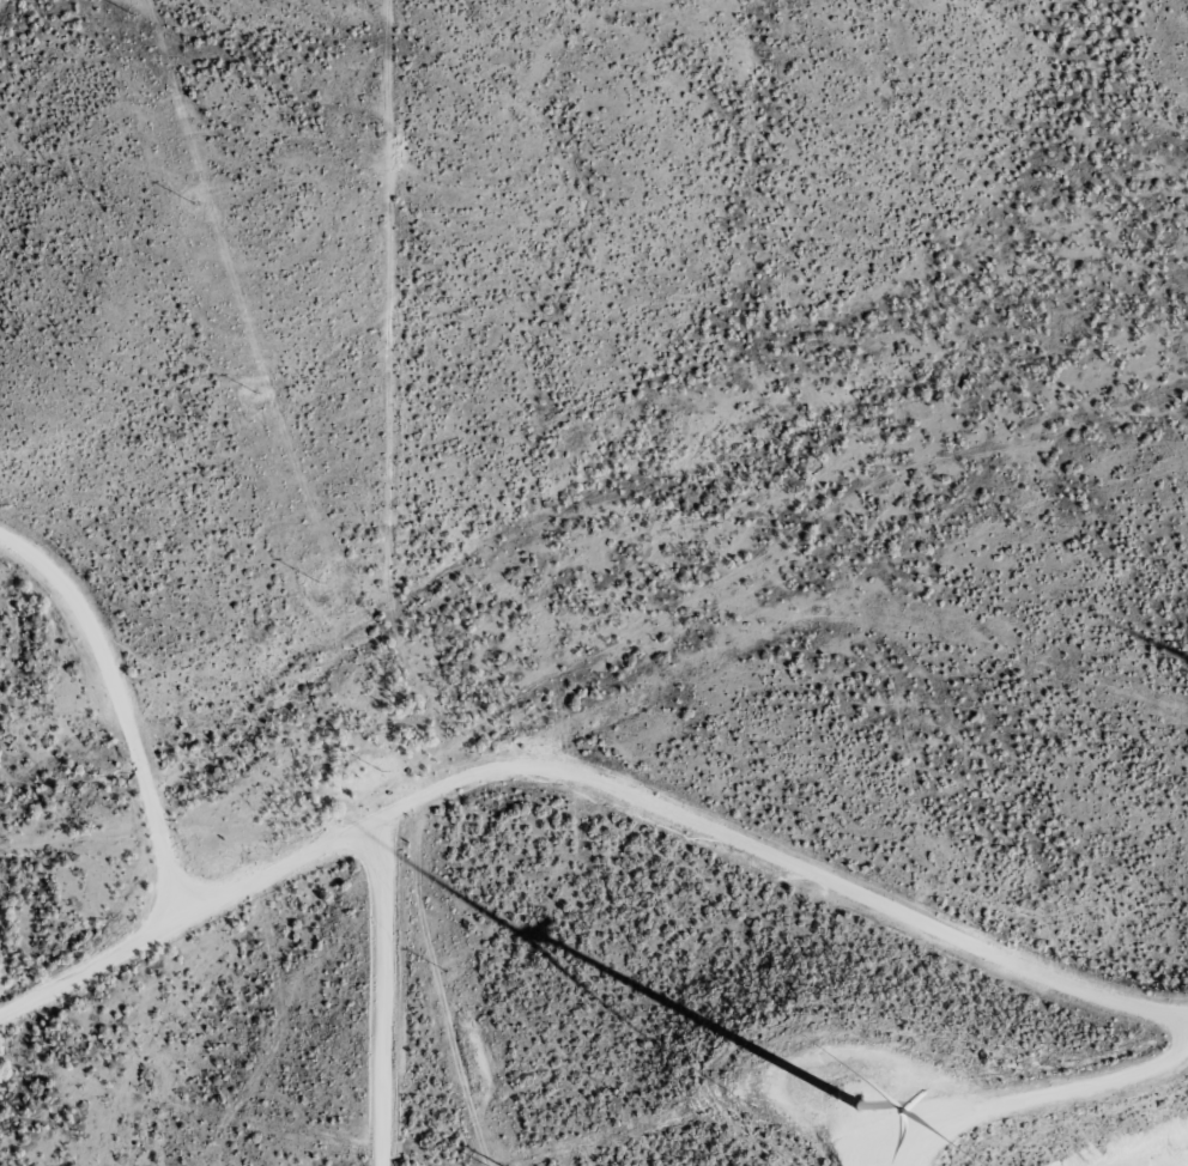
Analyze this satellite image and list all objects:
wind turbine: (866, 1097)

